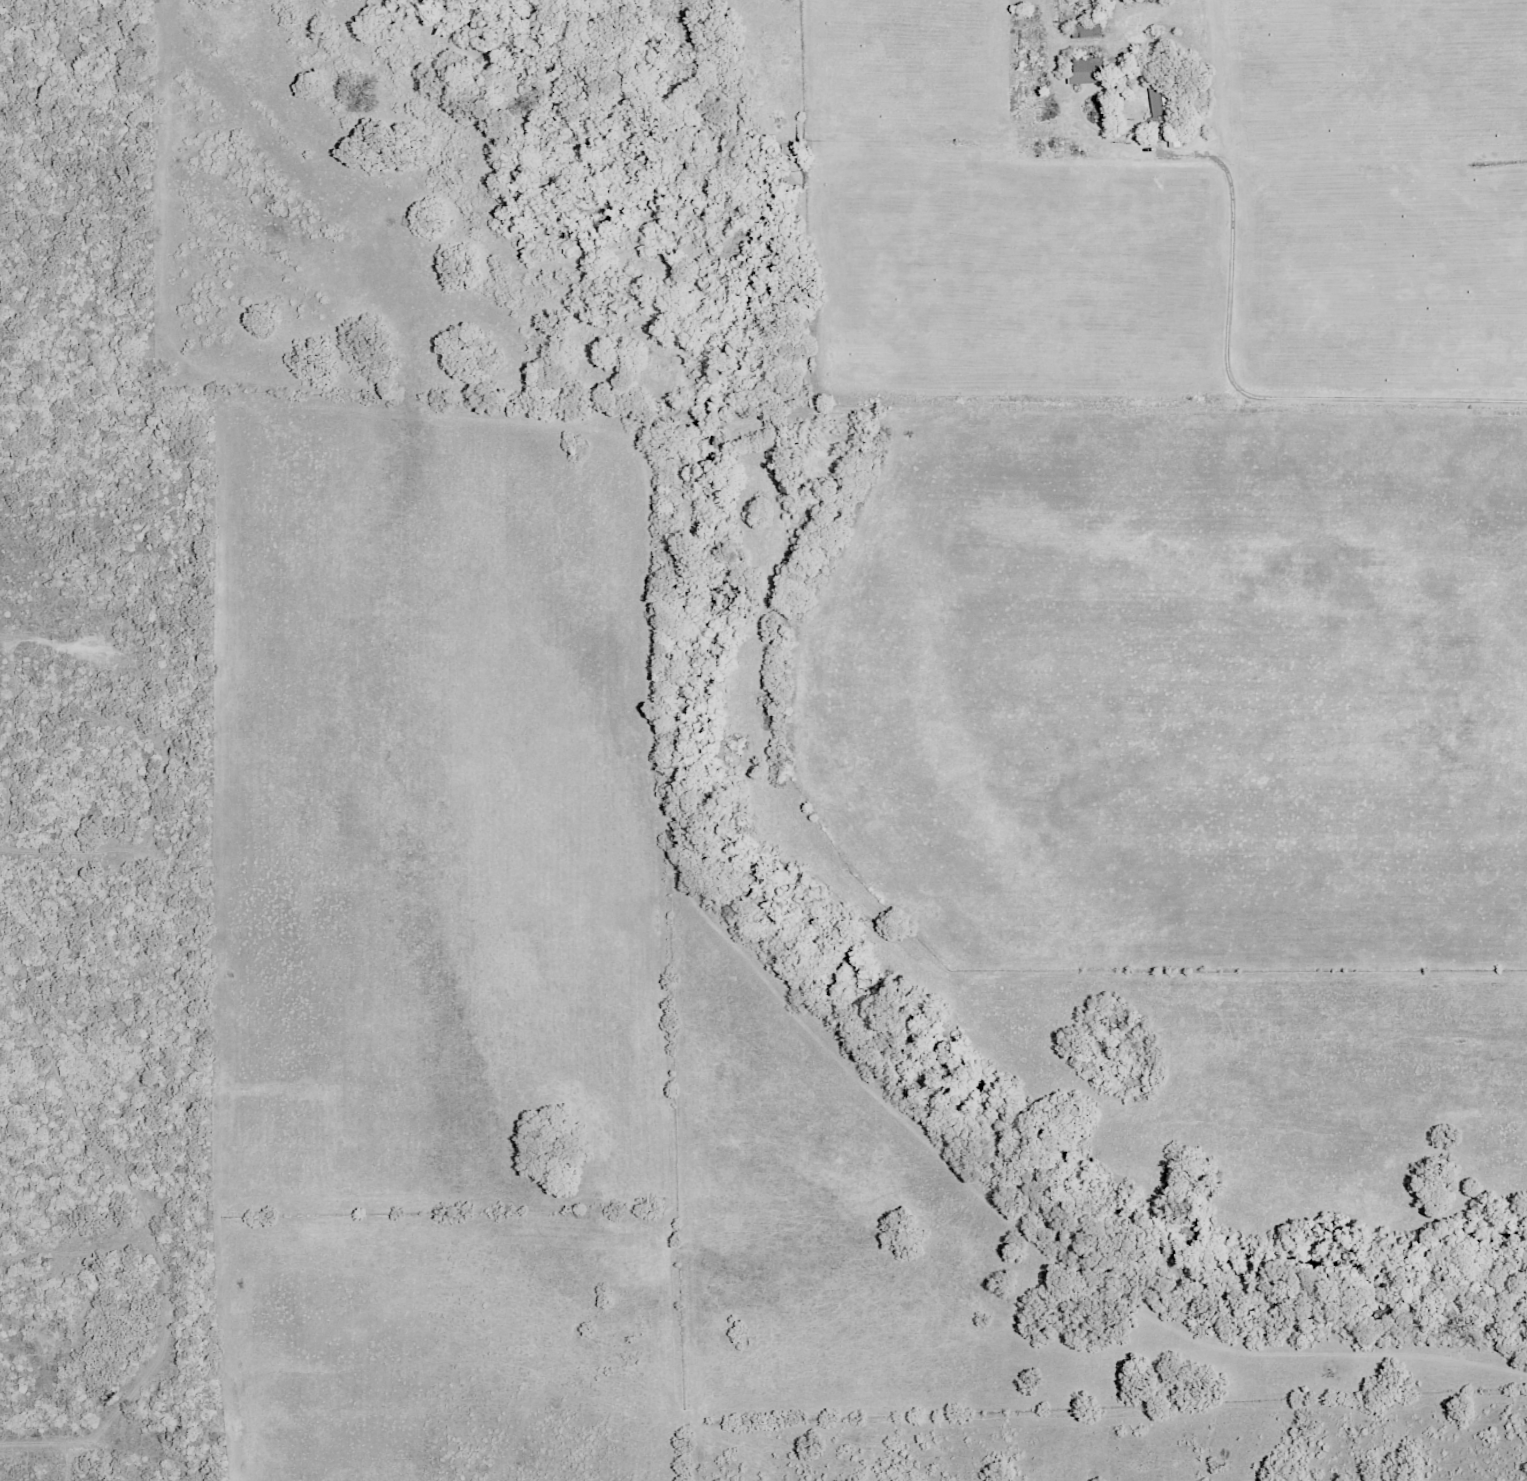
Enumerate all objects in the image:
building: (1086, 29)
building: (1085, 71)
building: (1160, 96)
road: (1232, 327)

